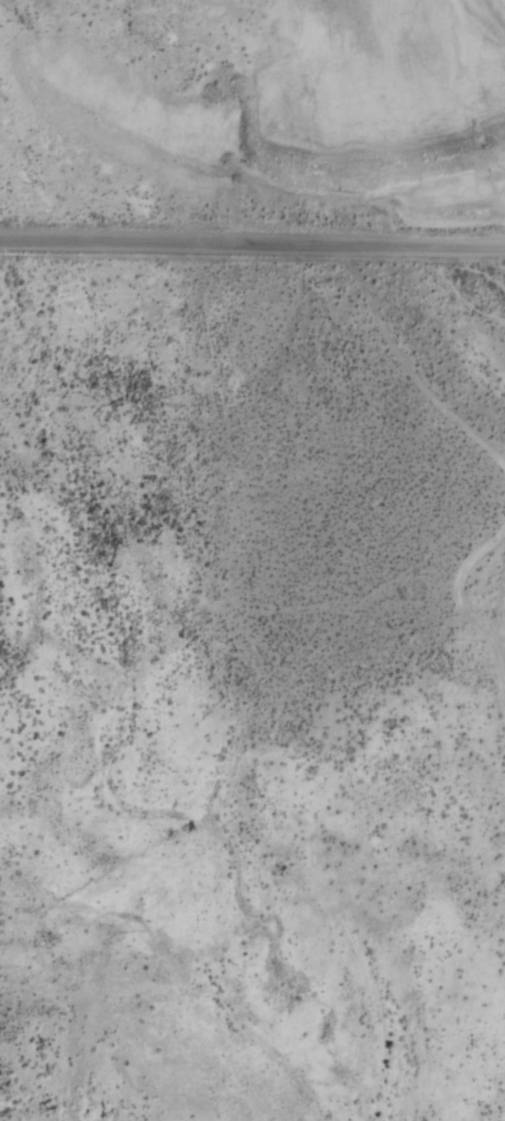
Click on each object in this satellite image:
road: (251, 239)

